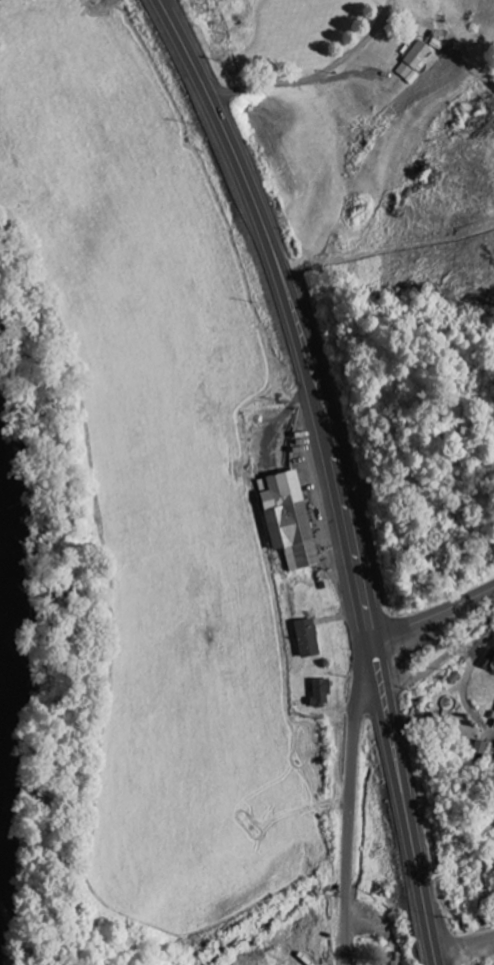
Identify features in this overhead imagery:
road: (162, 3)
building: (416, 54)
road: (315, 75)
building: (392, 77)
road: (337, 470)
building: (286, 518)
road: (434, 614)
building: (305, 637)
road: (435, 664)
building: (319, 692)
road: (350, 817)
road: (462, 938)
building: (388, 962)

